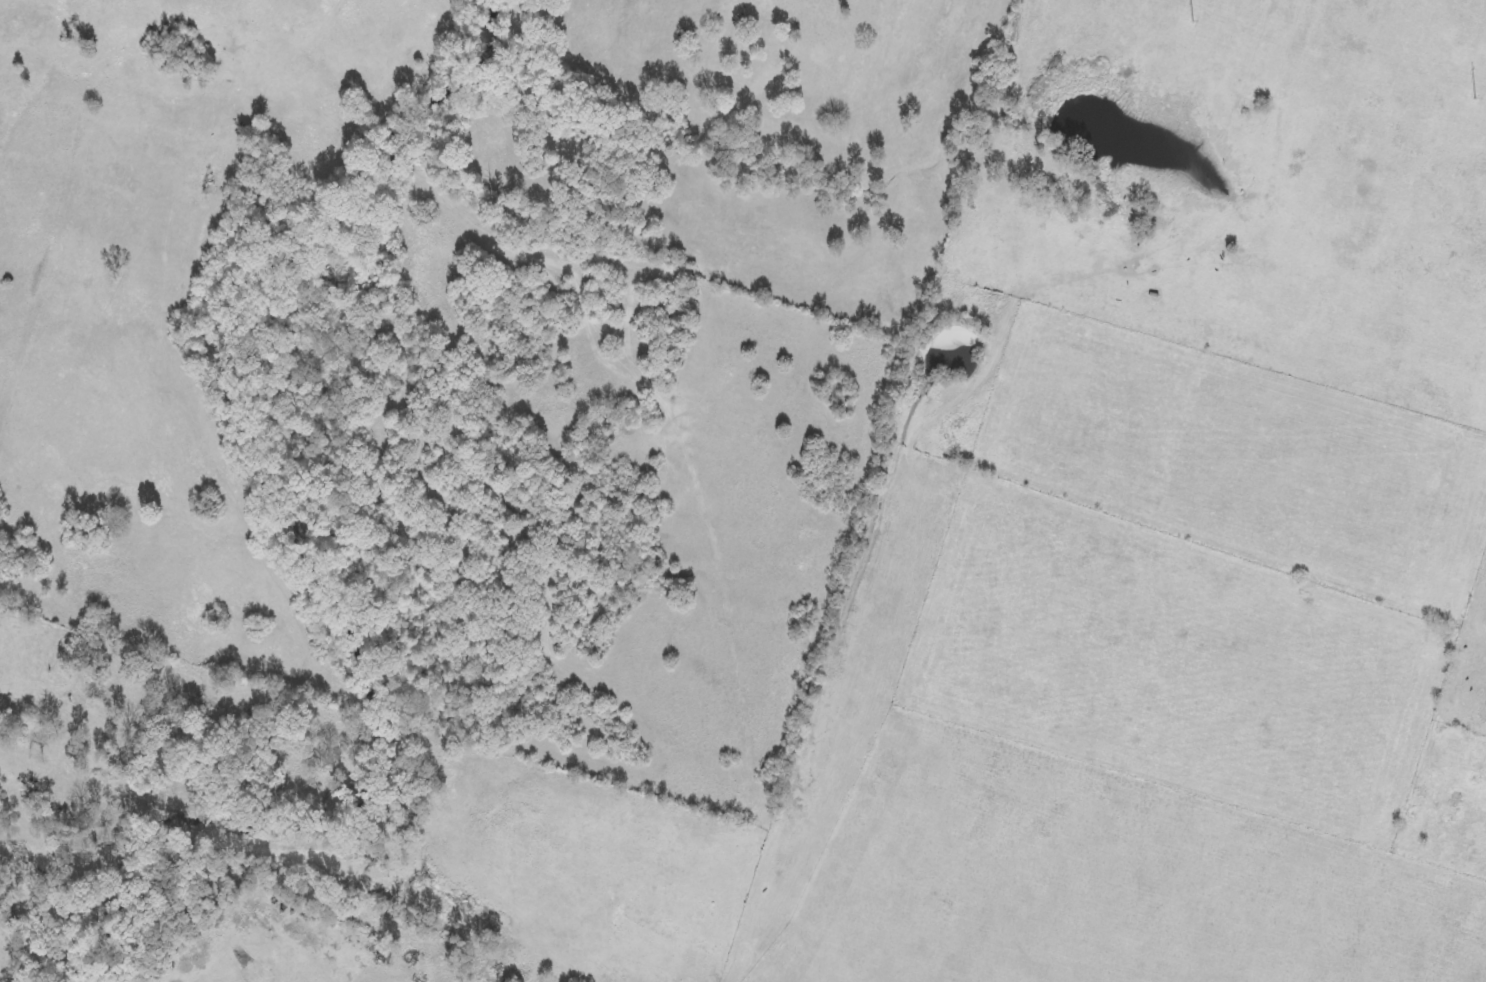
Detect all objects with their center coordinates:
power tower: (1191, 22)
power tower: (1474, 99)

